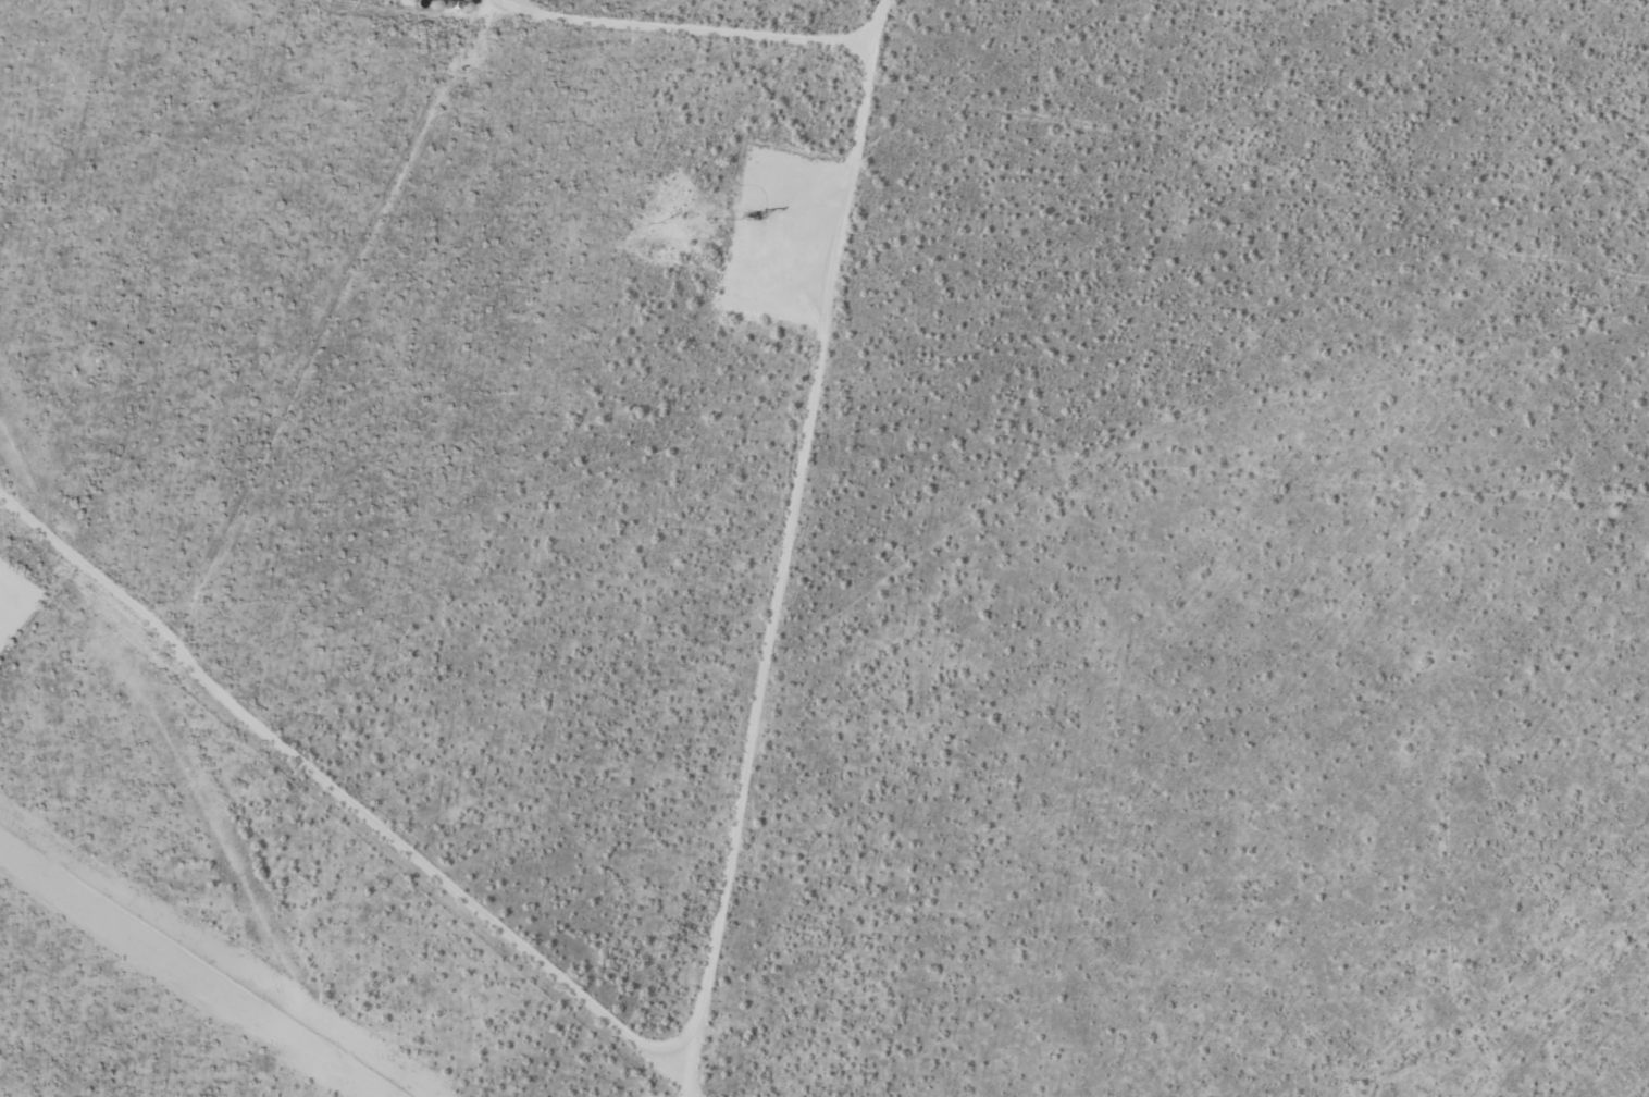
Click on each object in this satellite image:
road: (1223, 467)
road: (783, 547)

